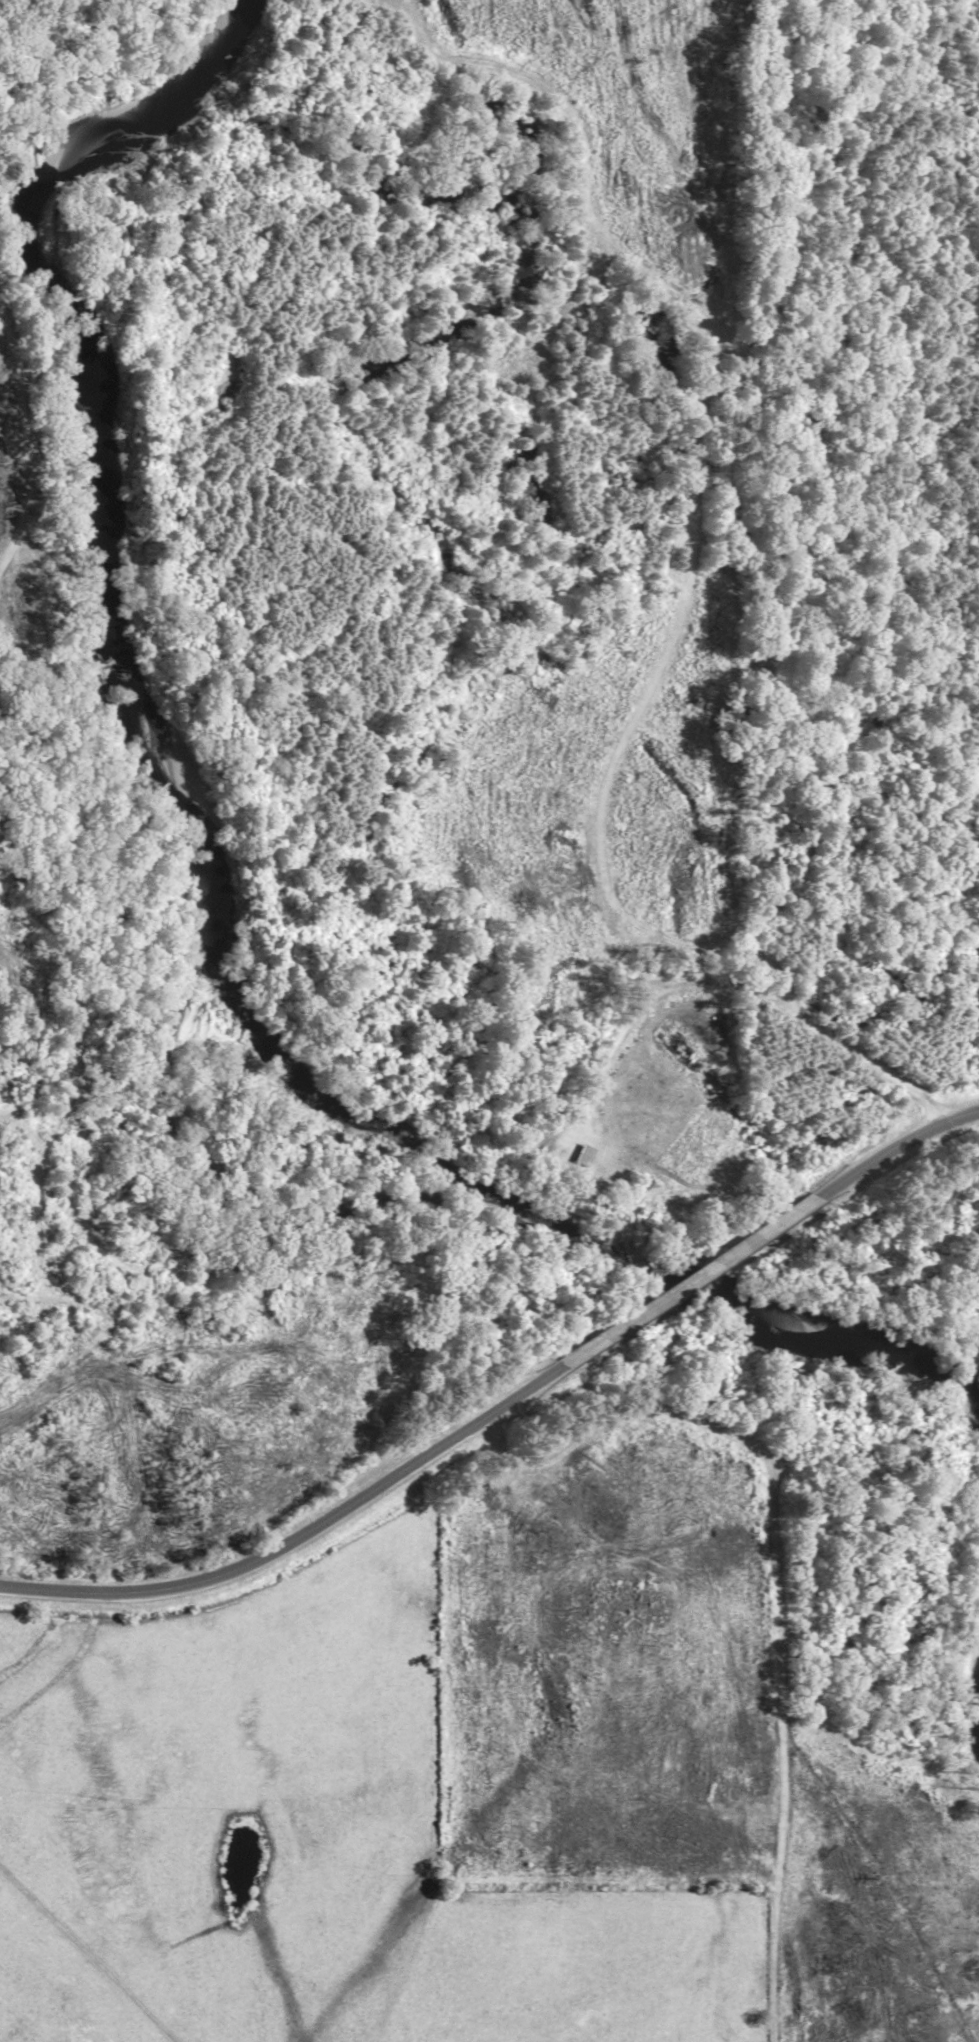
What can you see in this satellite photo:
river: (198, 865)
road: (891, 1147)
road: (686, 1283)
road: (298, 1535)

